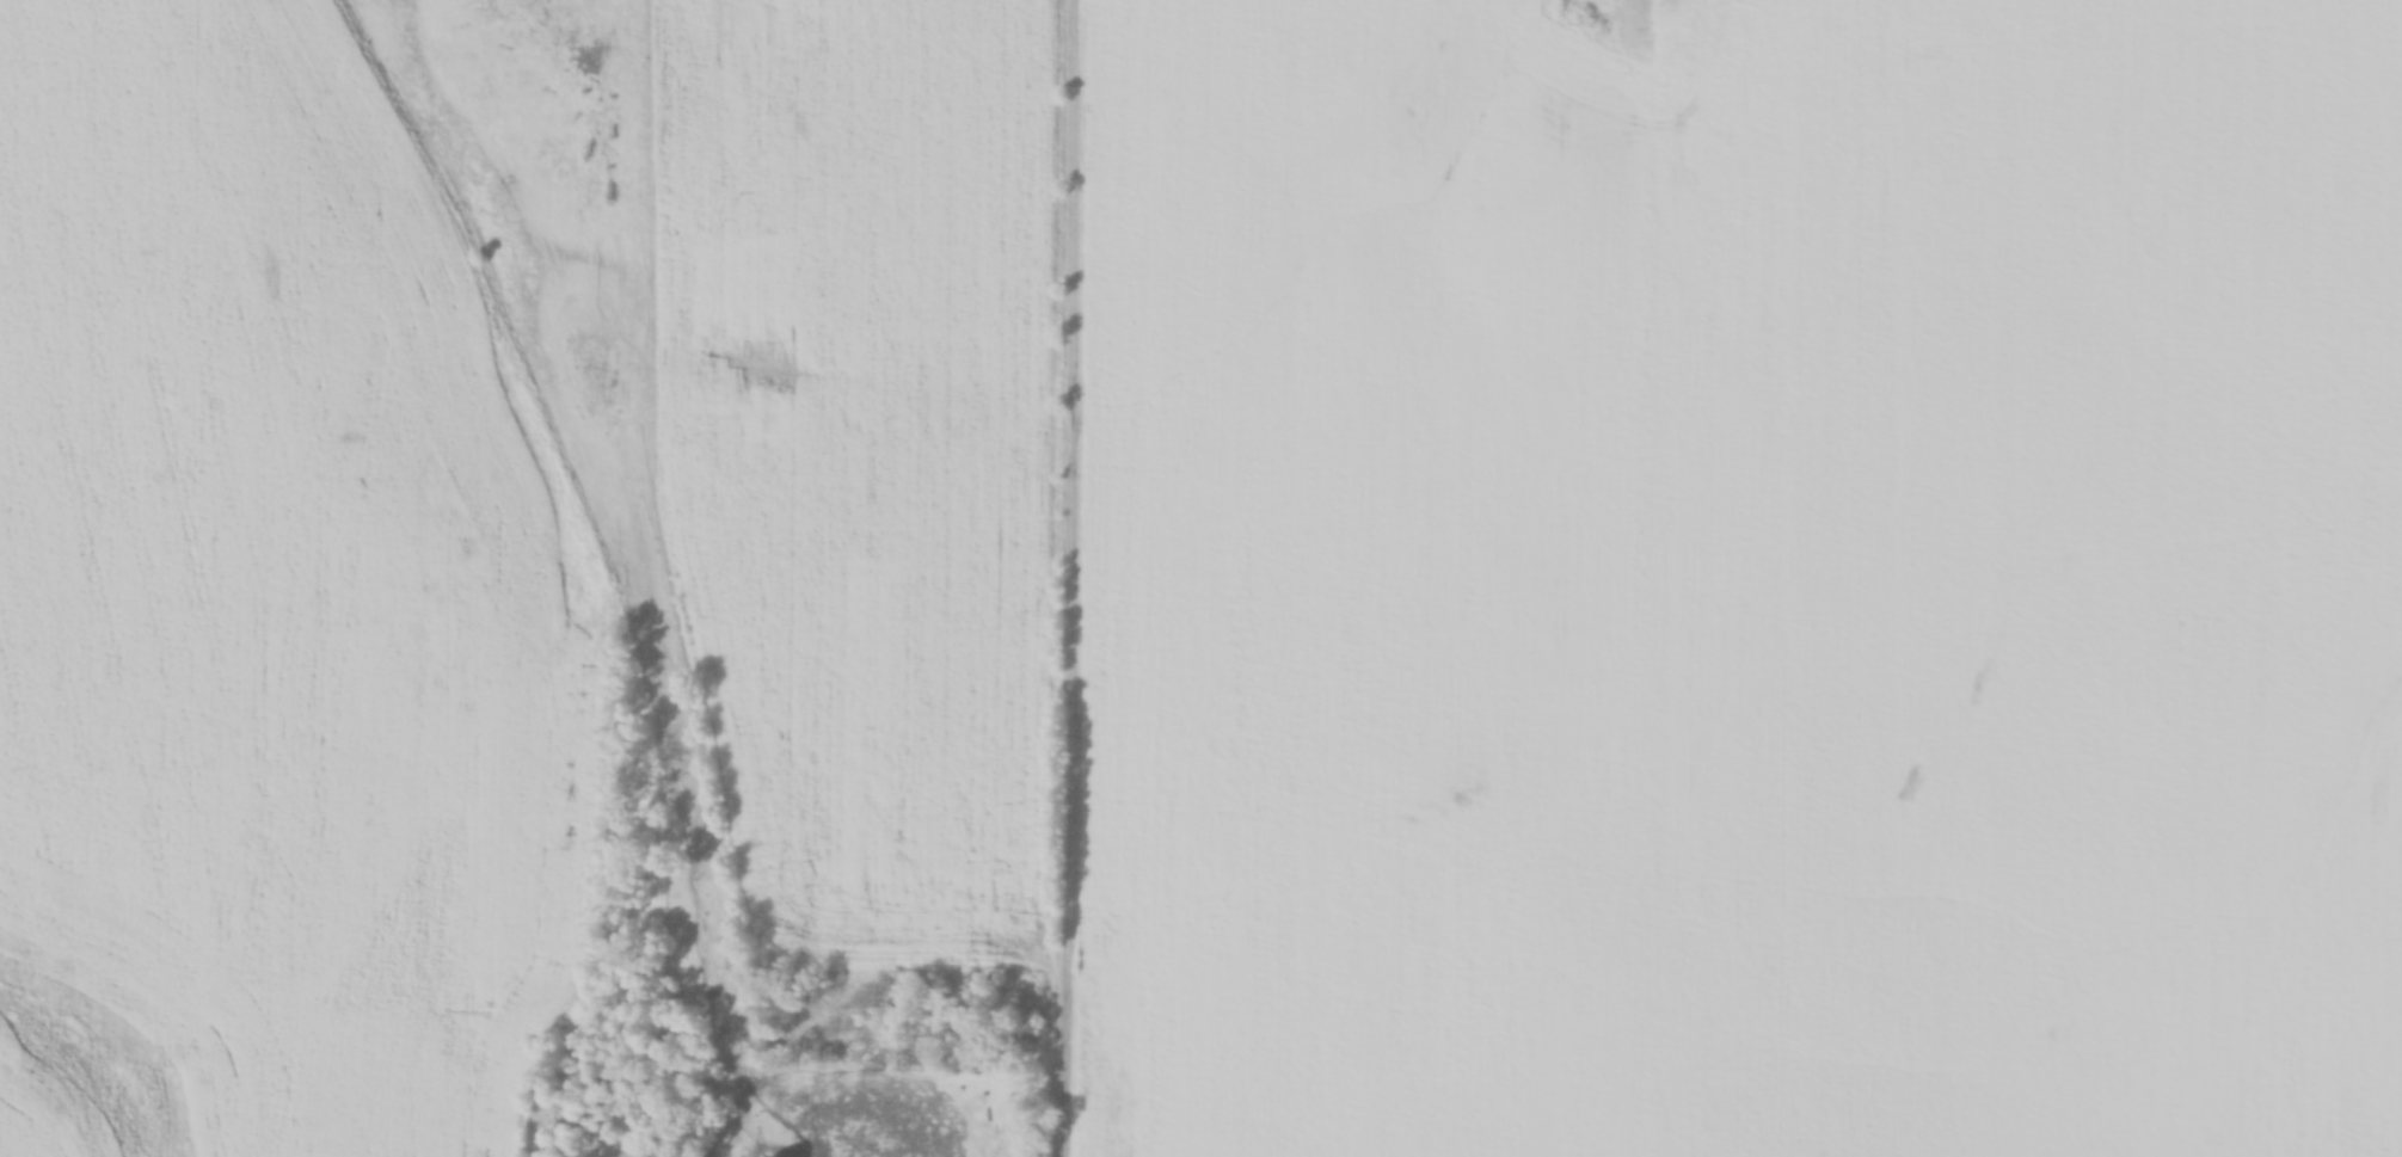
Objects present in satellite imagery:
road: (1077, 578)

